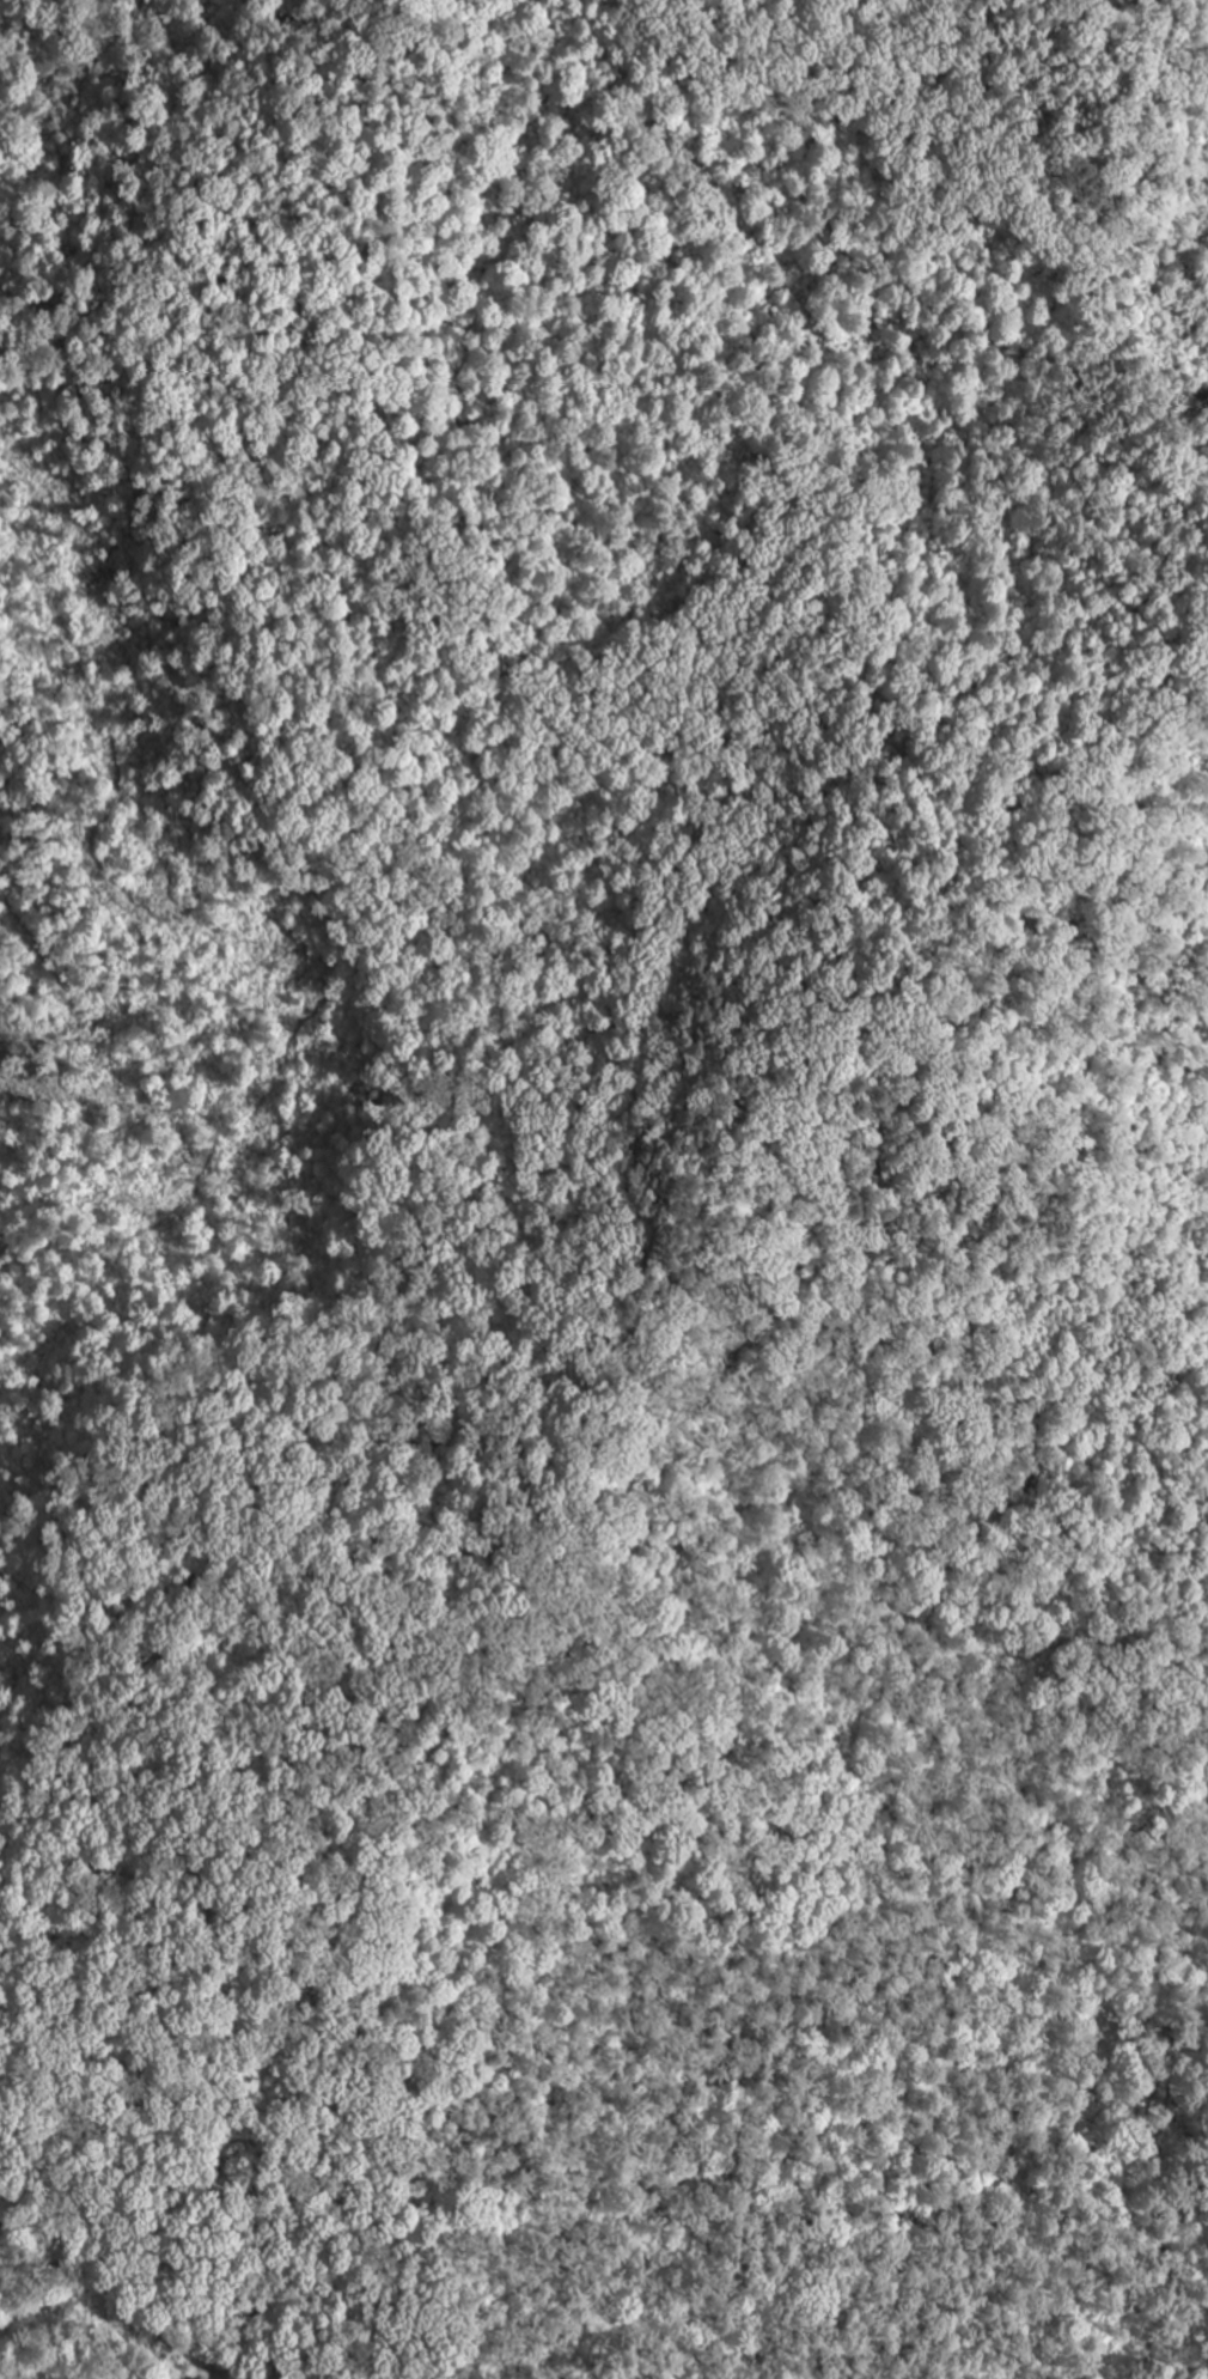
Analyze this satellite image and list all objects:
road: (103, 2341)

